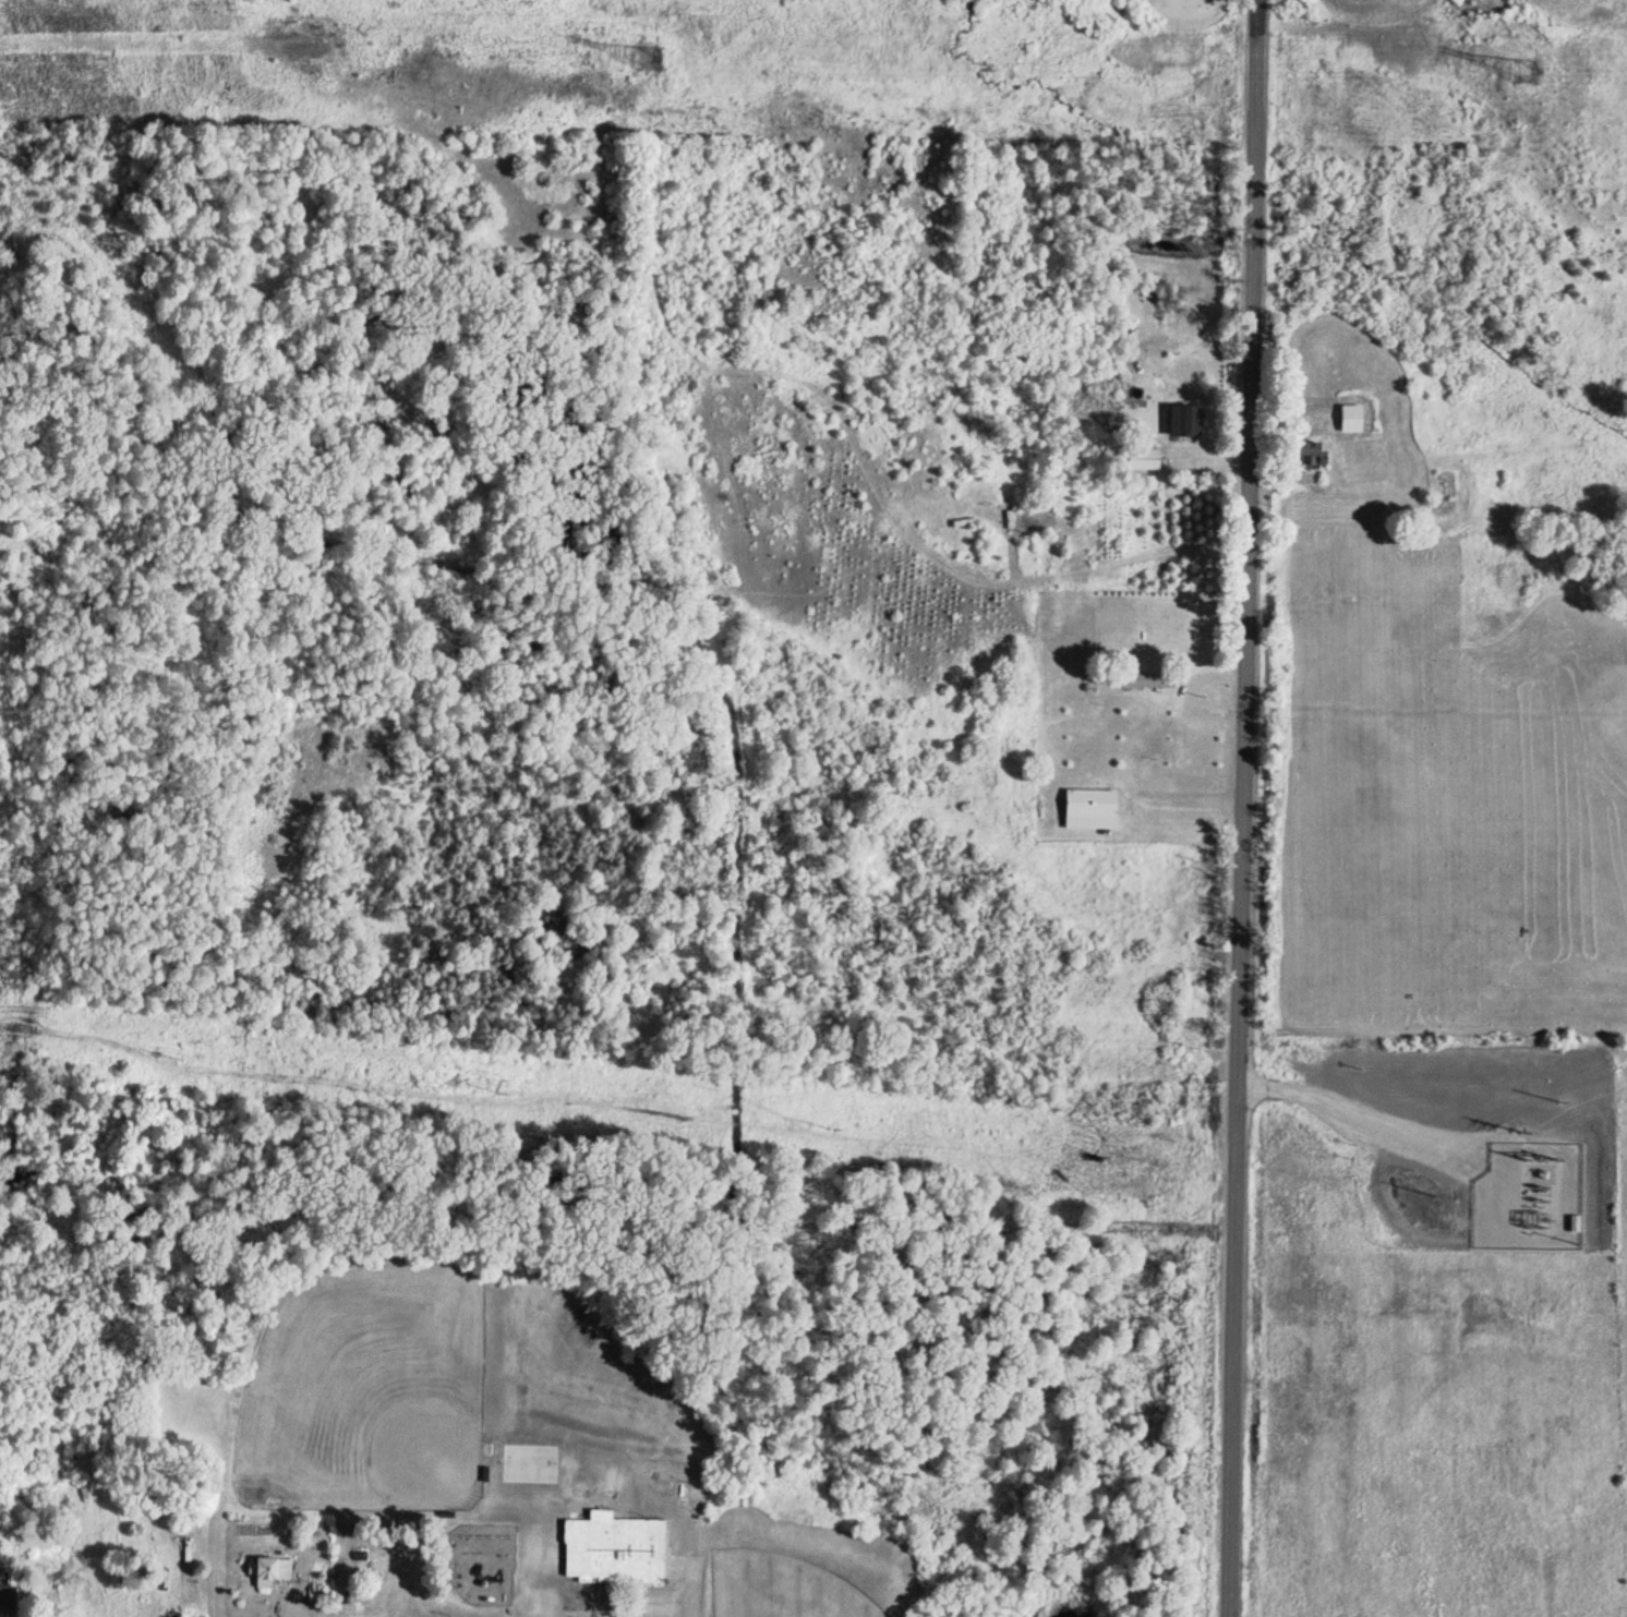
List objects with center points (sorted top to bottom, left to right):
road: (1256, 1)
power tower: (647, 53)
power tower: (1521, 63)
building: (1360, 418)
building: (1189, 421)
building: (1147, 459)
building: (1147, 679)
building: (1096, 809)
road: (1244, 809)
power substation: (1405, 1090)
park: (369, 1391)
building: (612, 1479)
building: (580, 1492)
building: (553, 1543)
building: (619, 1549)
building: (186, 1568)
building: (272, 1570)
park: (783, 1588)
building: (12, 1598)

